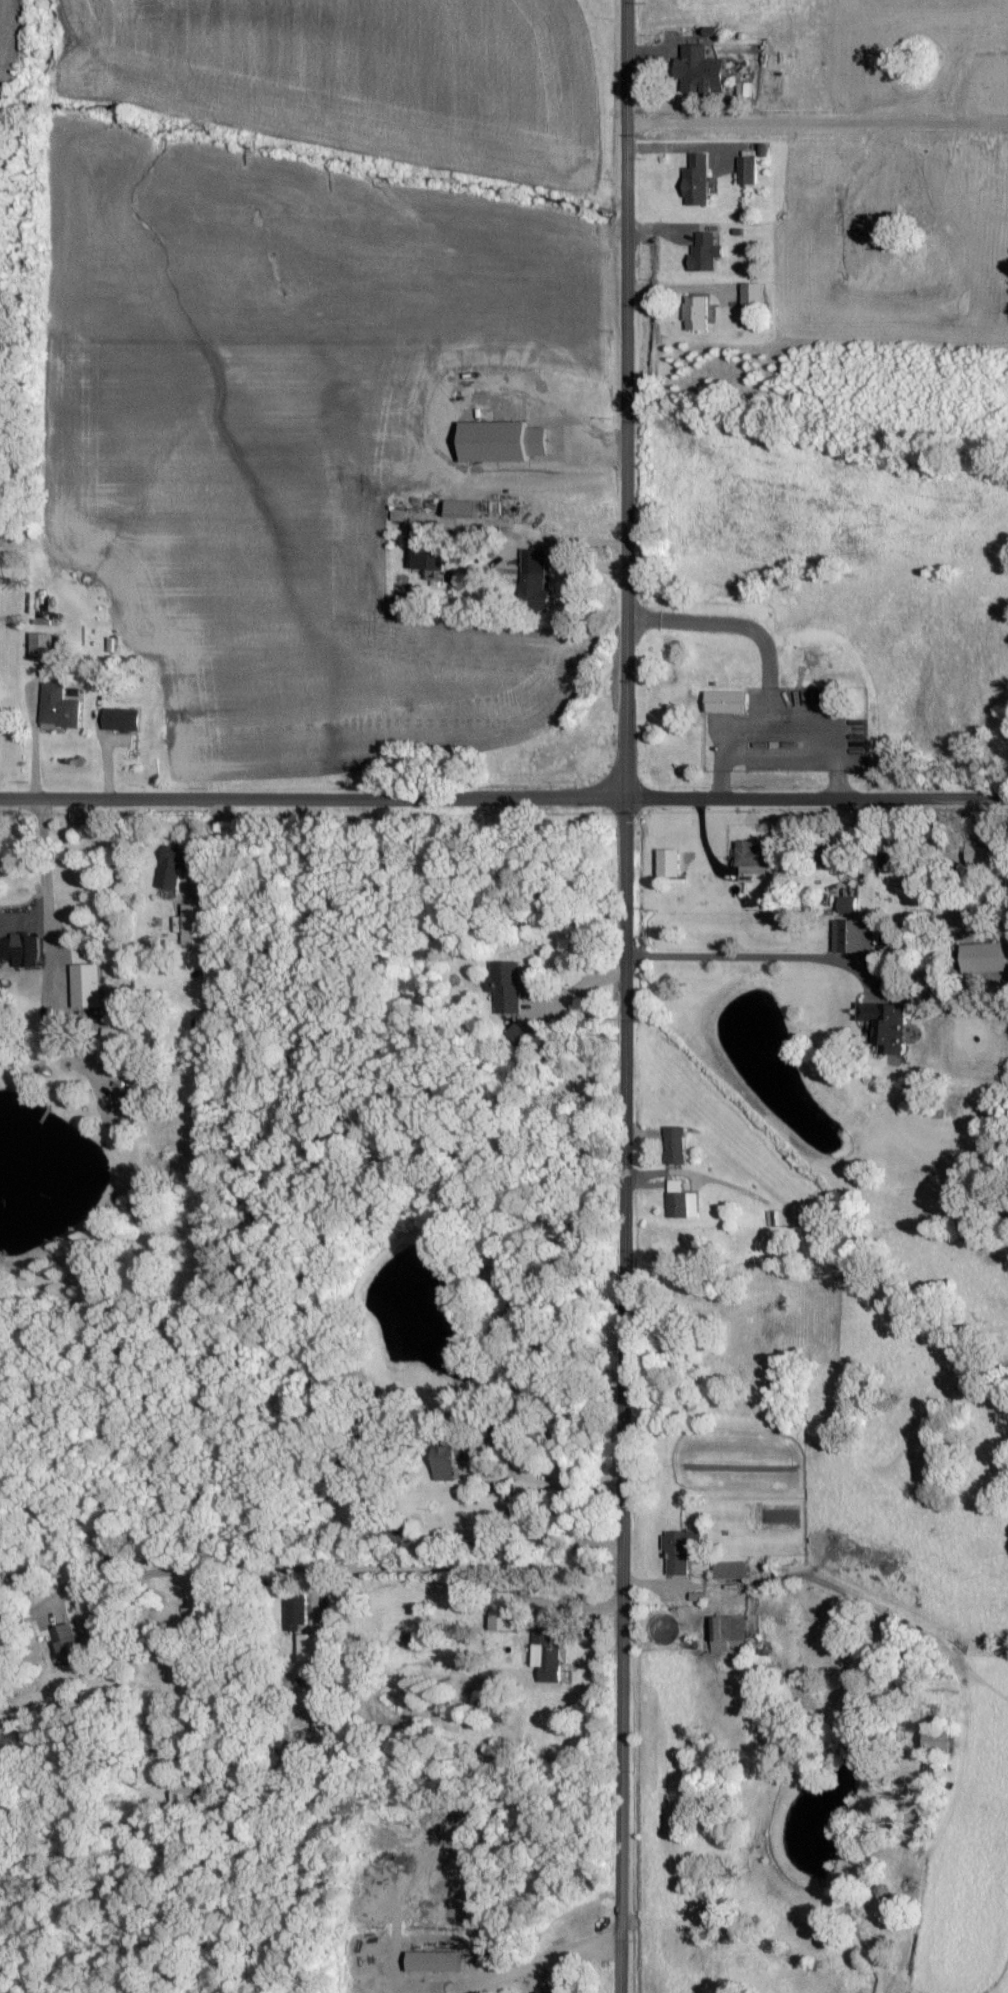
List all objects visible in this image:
building: (700, 70)
building: (745, 89)
building: (748, 171)
building: (697, 181)
building: (705, 252)
building: (753, 295)
building: (697, 313)
road: (568, 425)
building: (501, 440)
building: (462, 507)
building: (400, 515)
building: (426, 554)
building: (535, 591)
building: (43, 624)
building: (42, 645)
building: (727, 701)
building: (60, 706)
building: (122, 718)
road: (504, 794)
road: (216, 852)
building: (978, 854)
building: (829, 856)
building: (753, 857)
building: (893, 860)
building: (669, 862)
building: (174, 866)
road: (41, 877)
building: (848, 904)
building: (201, 923)
building: (854, 935)
building: (20, 950)
road: (747, 955)
building: (87, 984)
building: (507, 985)
road: (575, 988)
road: (627, 996)
building: (886, 1025)
building: (518, 1033)
building: (109, 1045)
building: (676, 1144)
building: (683, 1200)
building: (784, 1217)
building: (444, 1439)
building: (444, 1463)
road: (557, 1480)
building: (682, 1549)
road: (327, 1565)
building: (731, 1570)
building: (298, 1611)
building: (502, 1611)
building: (728, 1631)
building: (68, 1644)
building: (312, 1647)
building: (547, 1656)
building: (493, 1705)
building: (939, 1739)
building: (186, 1794)
building: (435, 1960)
road: (535, 1960)

